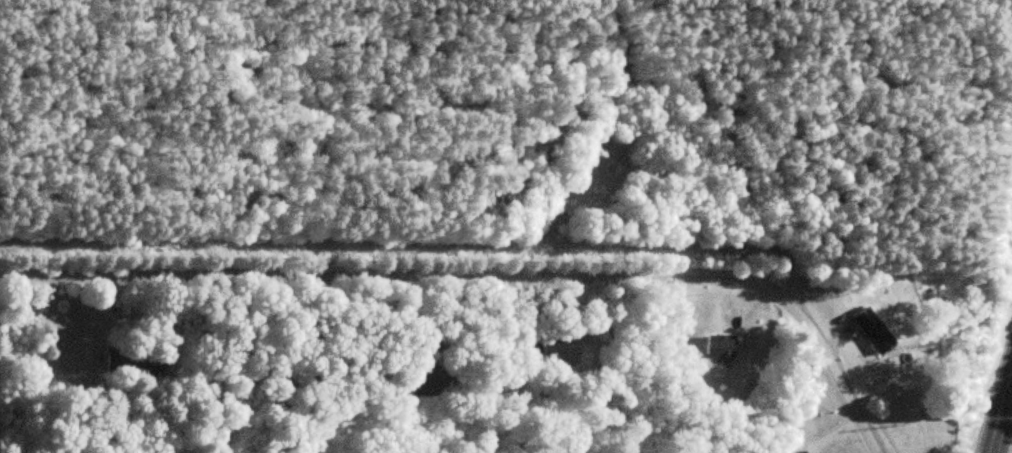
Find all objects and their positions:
road: (482, 277)
building: (874, 329)
building: (719, 344)
road: (998, 408)

